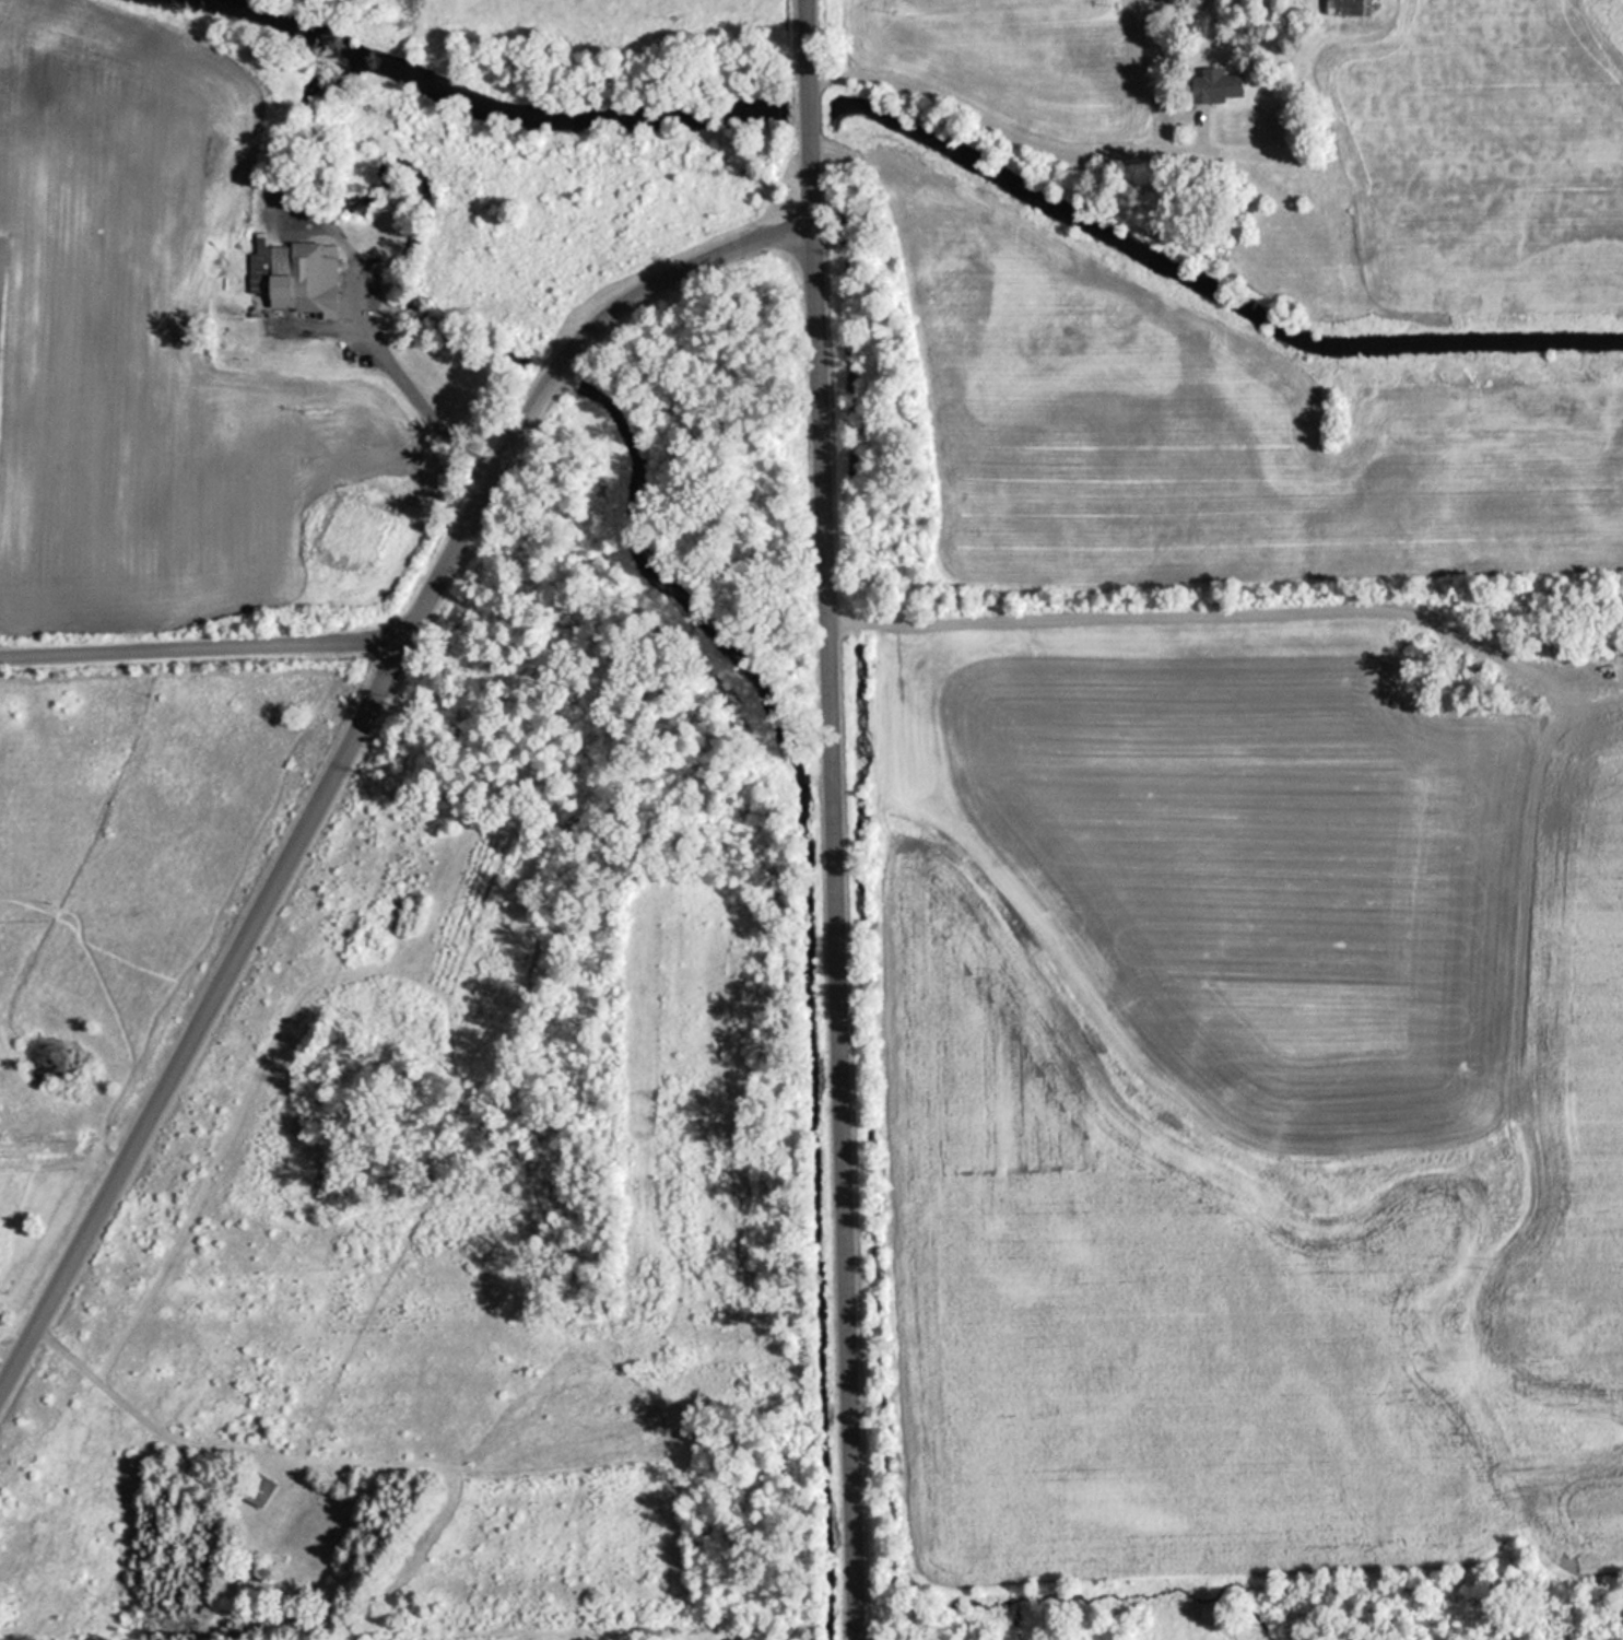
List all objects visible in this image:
building: (1344, 7)
building: (1211, 85)
river: (478, 105)
road: (807, 105)
river: (807, 112)
building: (295, 276)
river: (1212, 289)
road: (599, 304)
road: (201, 640)
road: (835, 925)
road: (237, 938)
building: (255, 1489)
building: (258, 1585)

